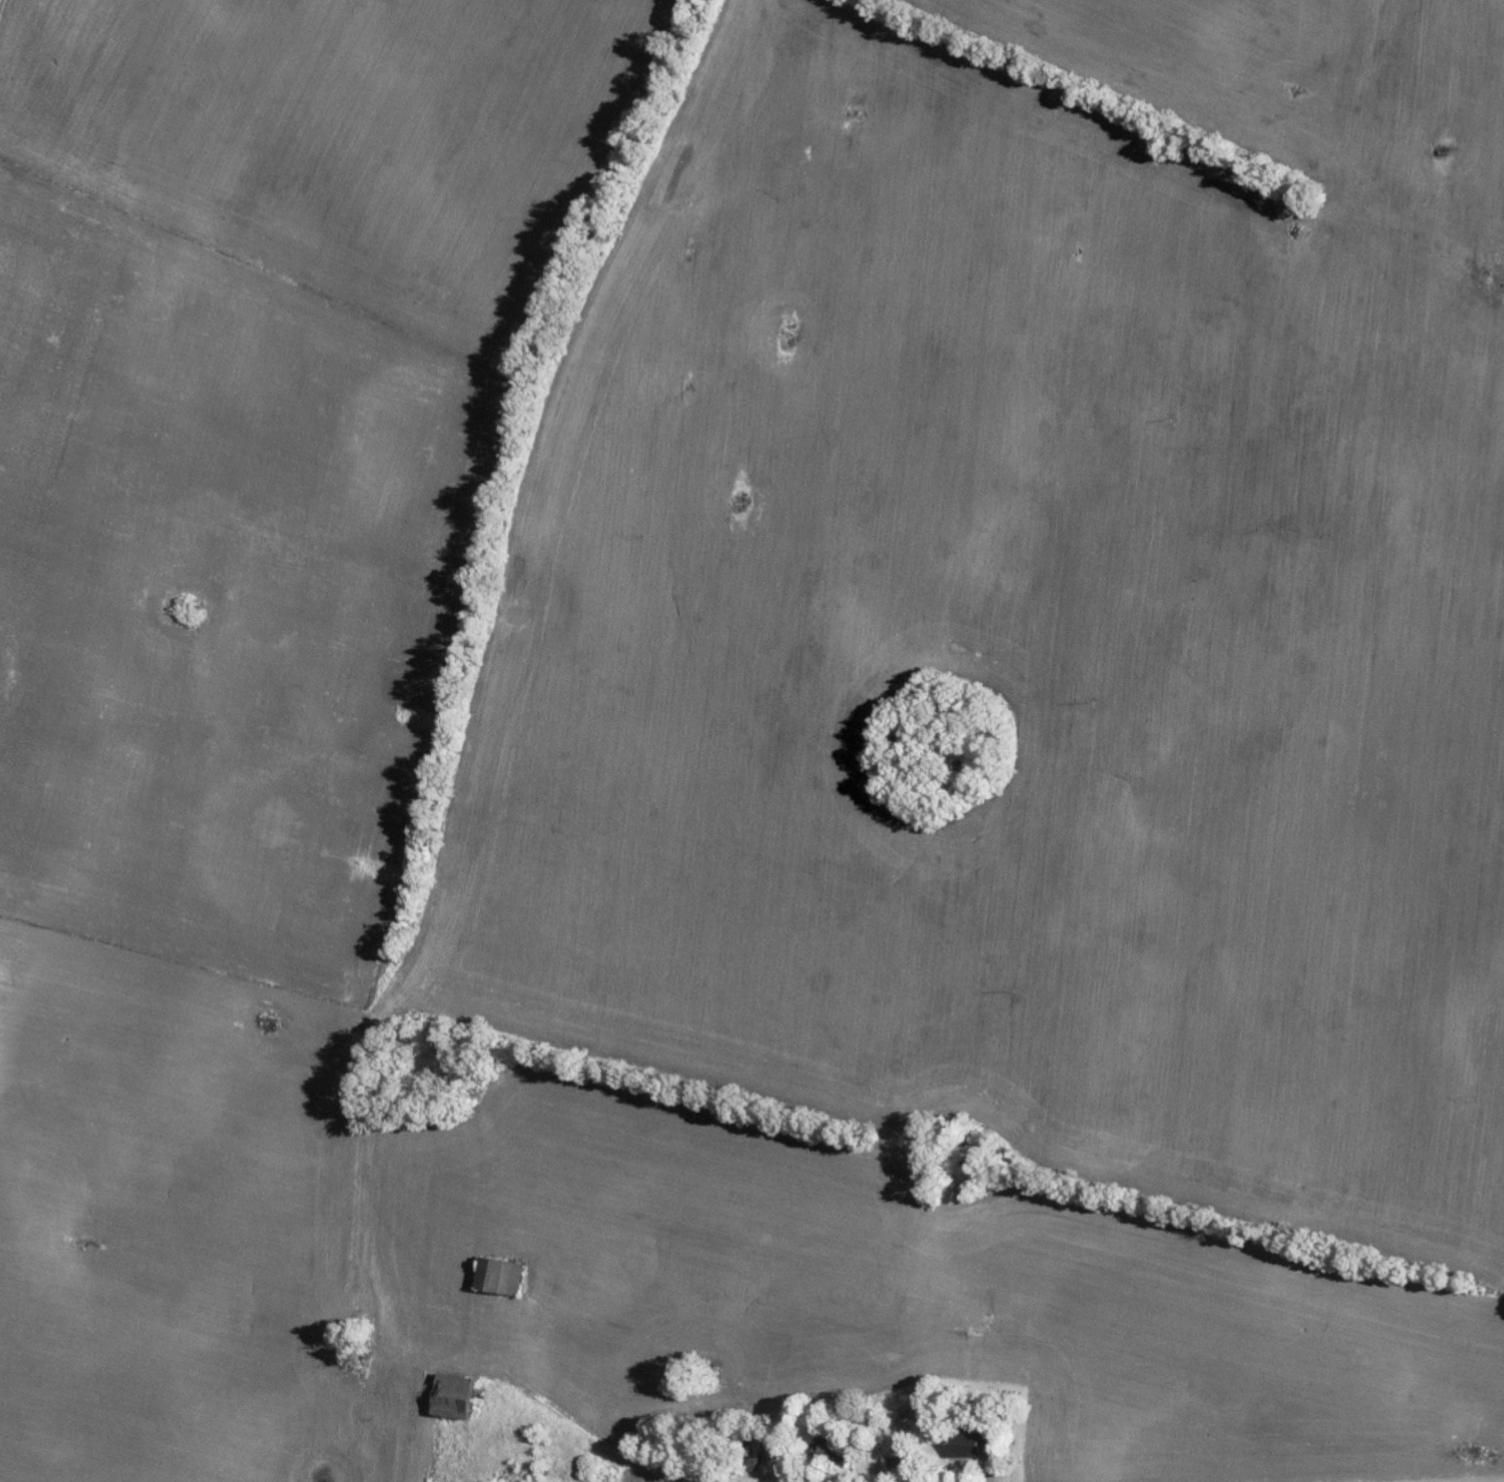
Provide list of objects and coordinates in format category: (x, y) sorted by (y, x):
road: (949, 1410)
building: (973, 1445)

